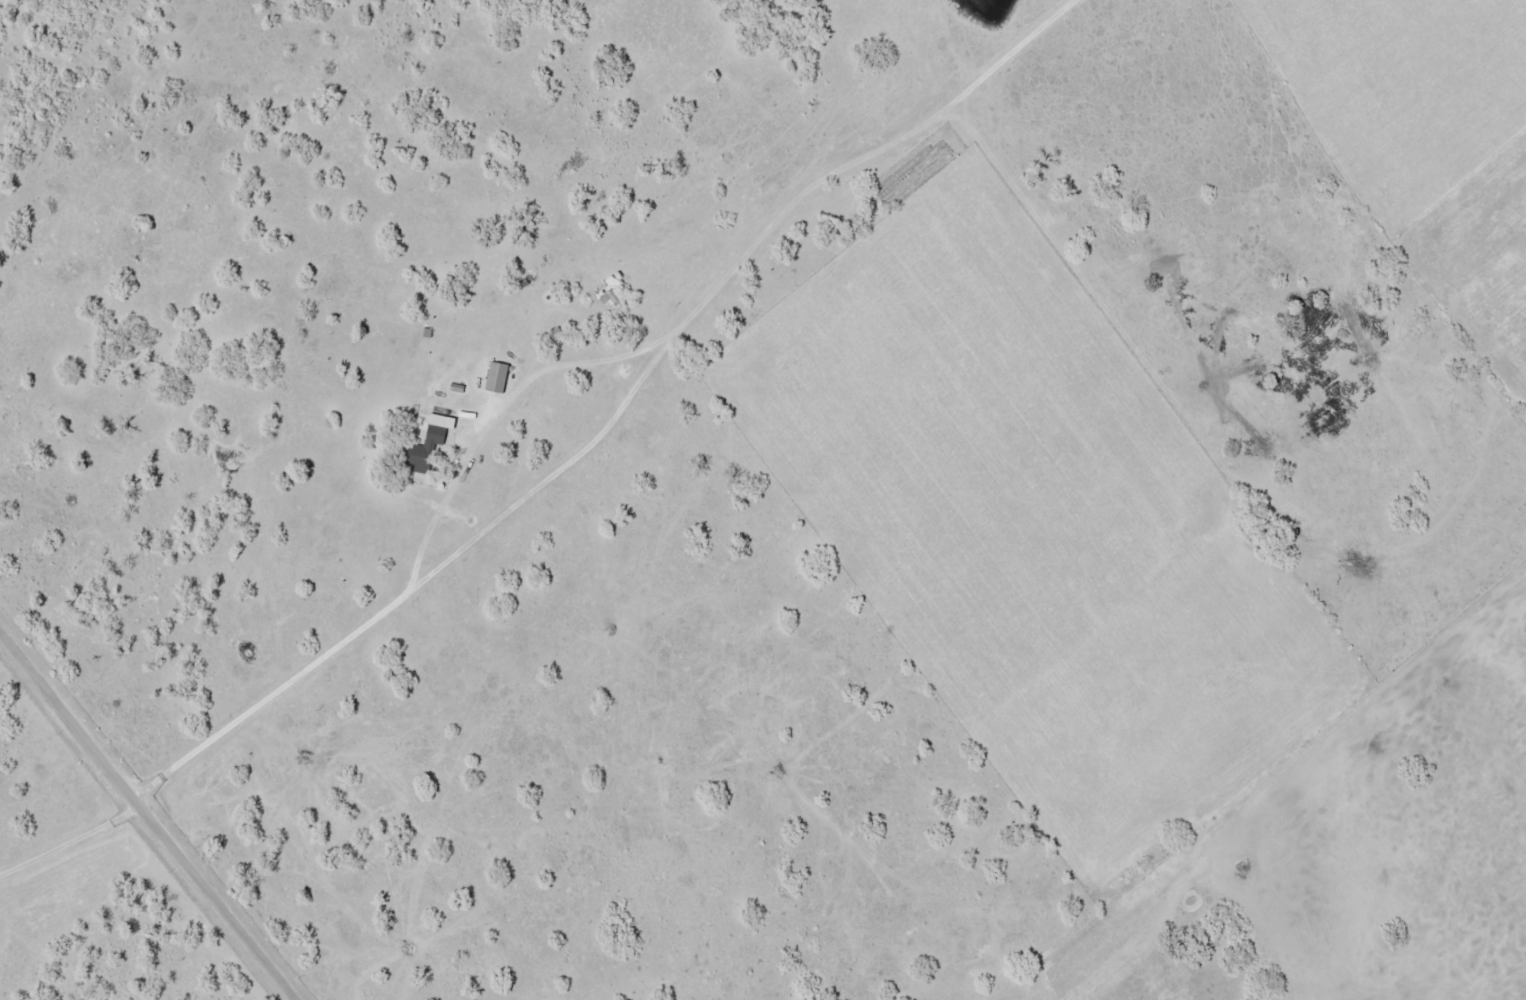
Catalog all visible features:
building: (612, 298)
building: (500, 375)
road: (617, 409)
building: (437, 434)
road: (151, 815)

